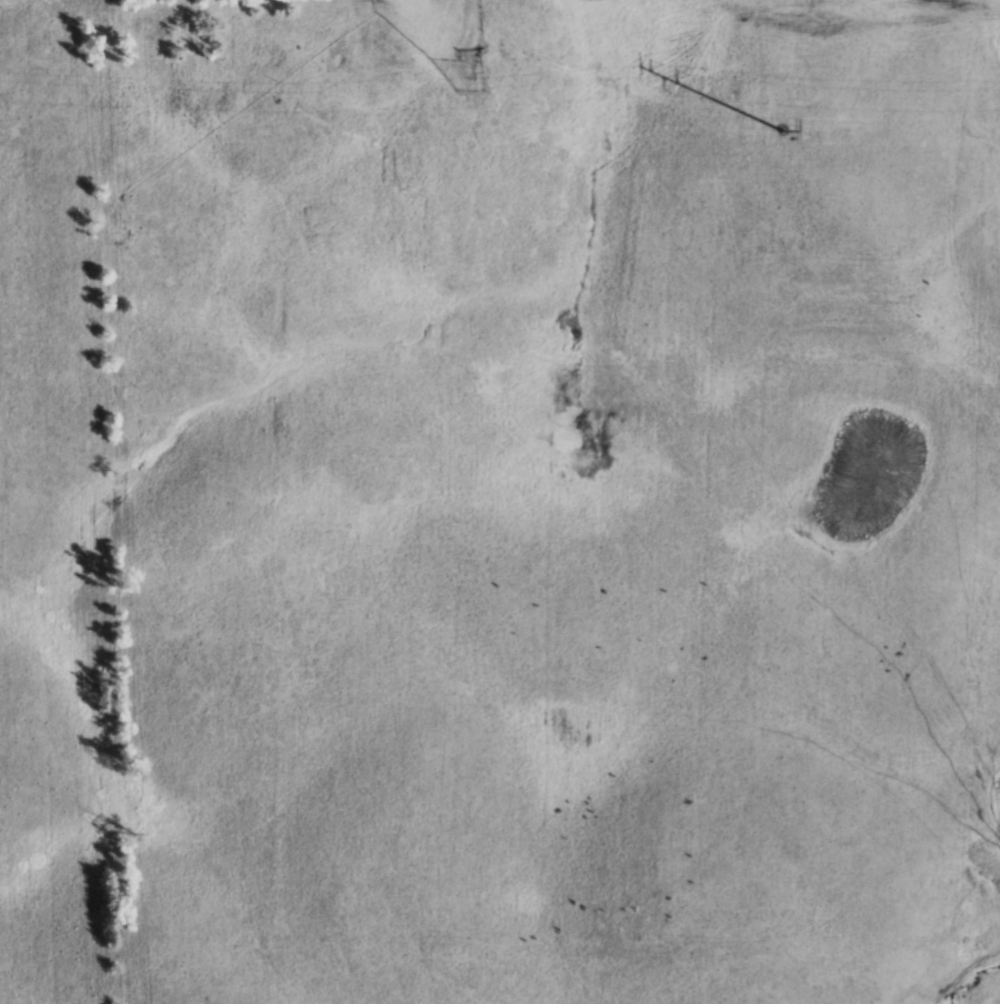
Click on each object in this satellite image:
power tower: (784, 128)

